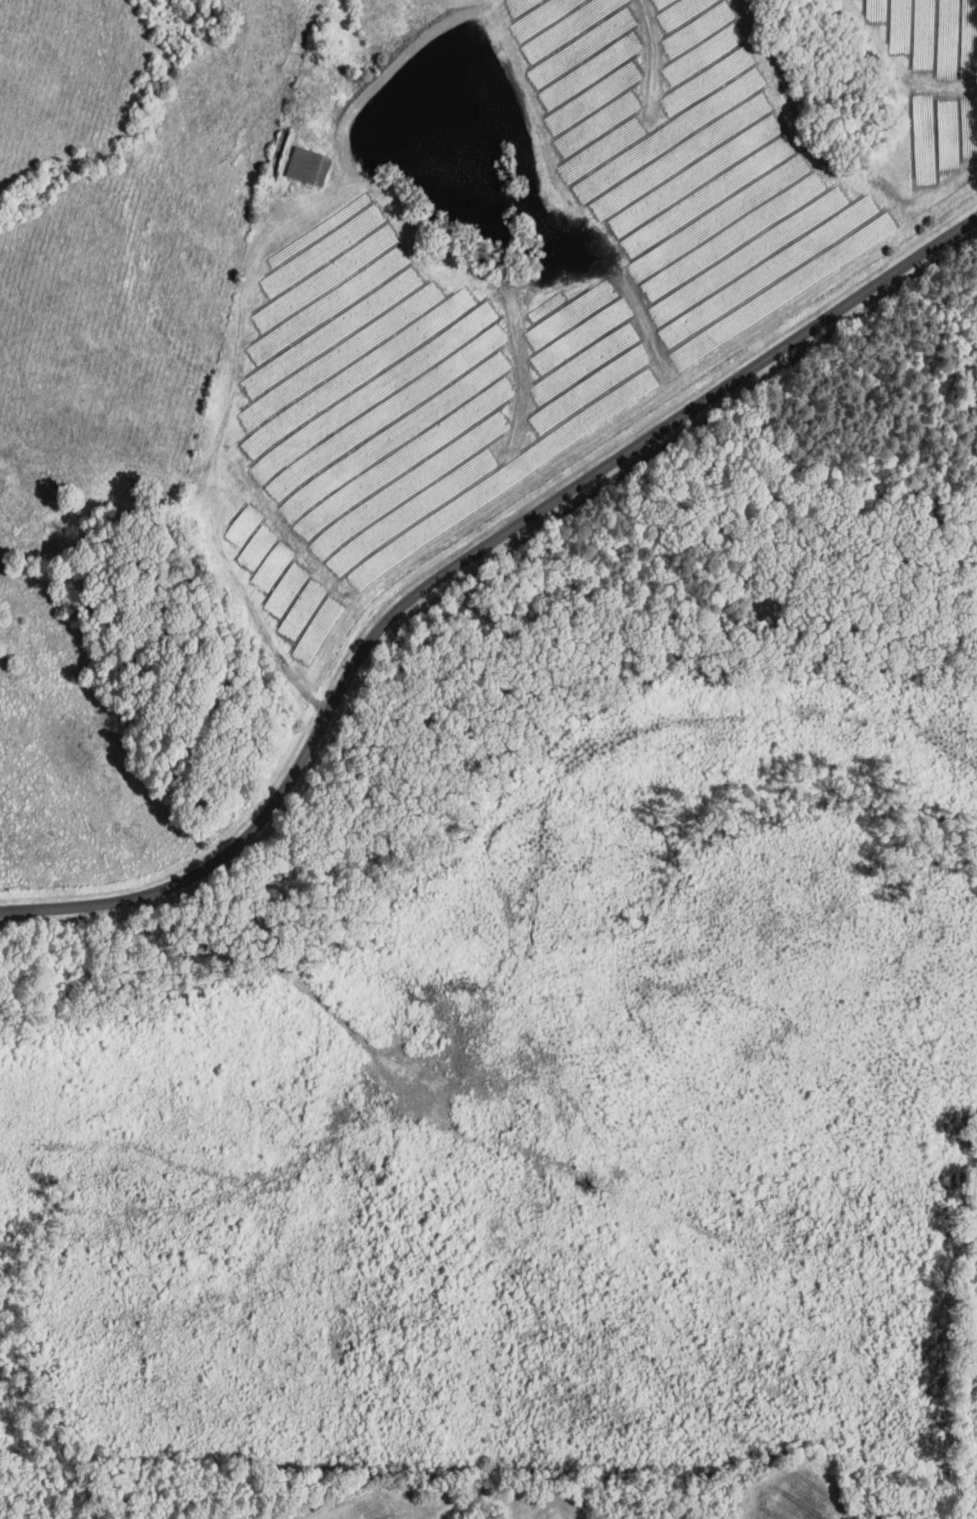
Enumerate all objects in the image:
building: (312, 165)
road: (460, 563)

